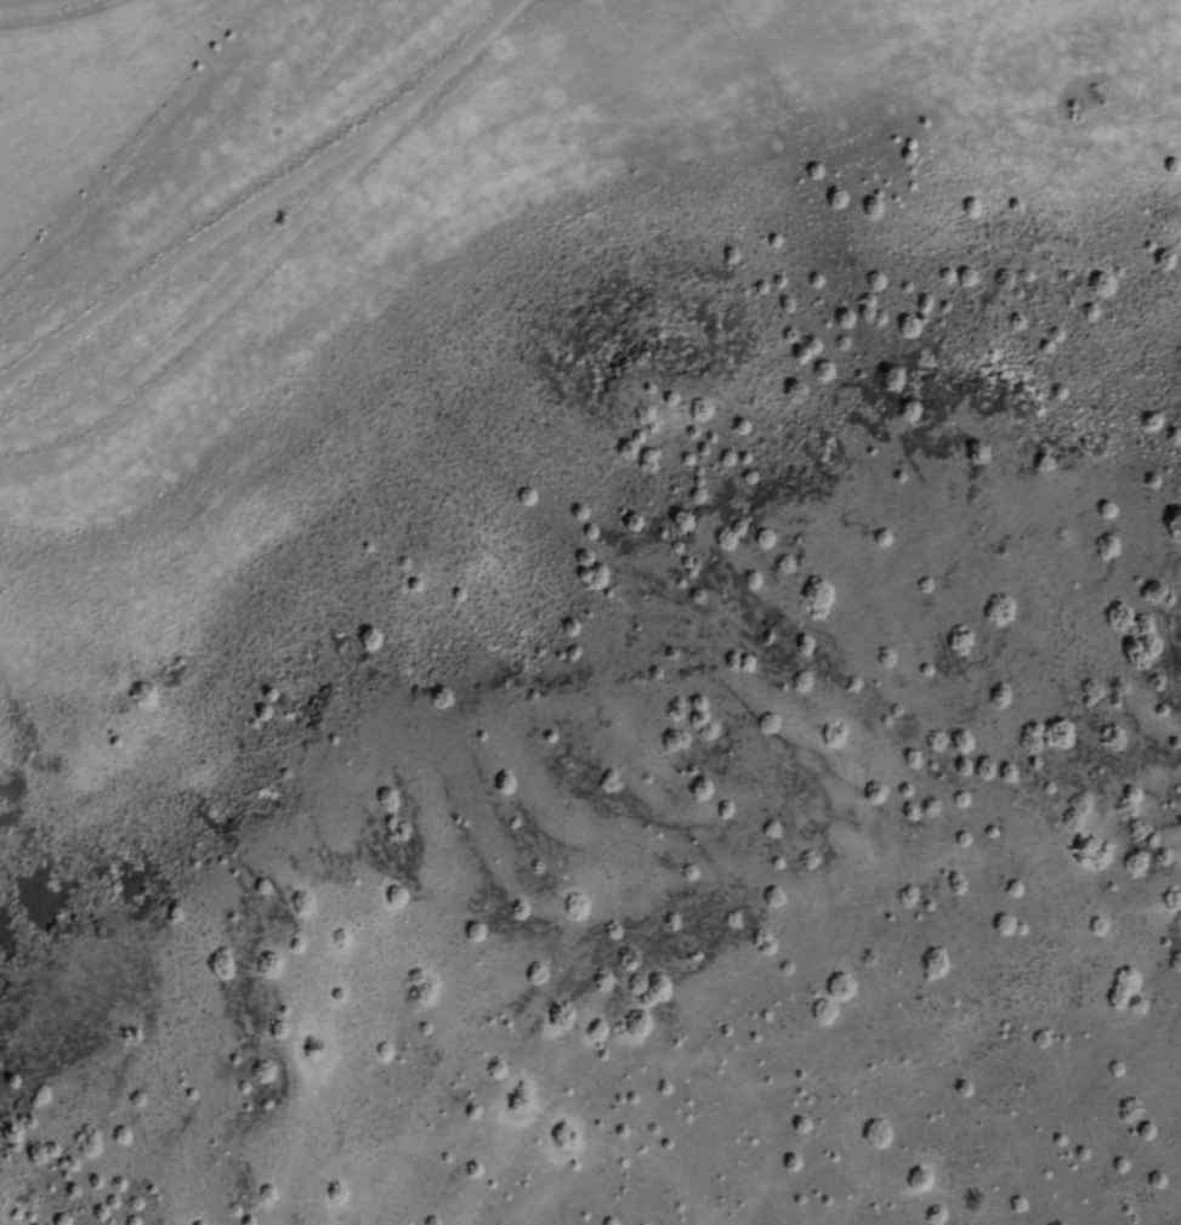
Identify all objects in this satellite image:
road: (263, 197)

